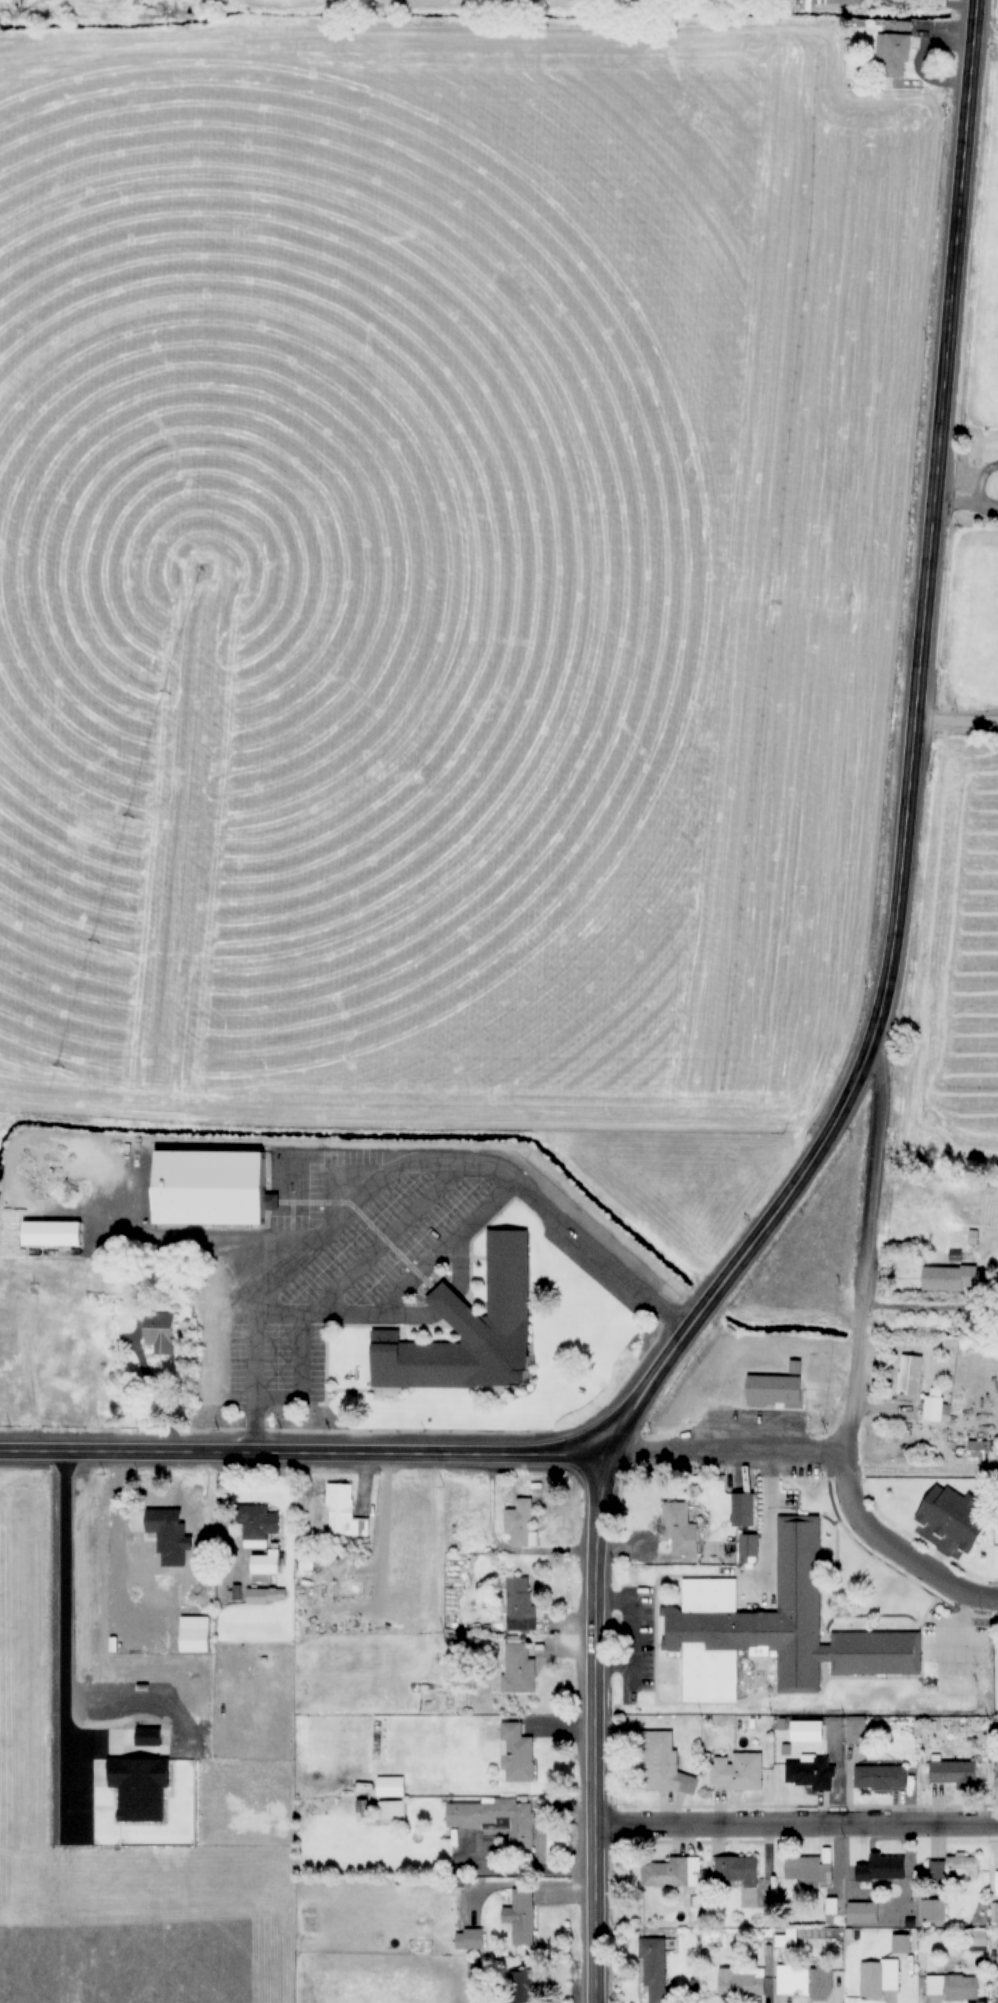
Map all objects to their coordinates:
building: (818, 3)
road: (911, 6)
building: (893, 55)
road: (901, 64)
road: (969, 477)
road: (918, 509)
road: (958, 509)
crop: (447, 589)
road: (949, 725)
building: (193, 1191)
building: (252, 1202)
road: (532, 1217)
road: (275, 1219)
road: (388, 1221)
road: (328, 1222)
road: (349, 1222)
road: (125, 1229)
building: (35, 1236)
road: (851, 1236)
road: (255, 1240)
parking lot: (333, 1259)
building: (54, 1276)
road: (400, 1279)
building: (925, 1280)
road: (266, 1319)
building: (454, 1332)
building: (160, 1334)
building: (910, 1375)
road: (285, 1382)
building: (774, 1389)
building: (934, 1408)
road: (297, 1447)
road: (713, 1450)
building: (977, 1450)
road: (586, 1469)
building: (744, 1509)
building: (727, 1512)
building: (345, 1513)
building: (521, 1523)
building: (937, 1524)
building: (679, 1525)
building: (160, 1537)
building: (261, 1540)
road: (886, 1558)
building: (266, 1597)
building: (520, 1604)
building: (772, 1629)
building: (195, 1635)
parking lot: (631, 1636)
road: (619, 1641)
building: (96, 1648)
building: (518, 1669)
building: (807, 1731)
building: (517, 1754)
building: (661, 1765)
building: (737, 1772)
building: (935, 1773)
building: (809, 1774)
building: (881, 1778)
building: (992, 1778)
building: (391, 1786)
crop: (116, 1805)
building: (392, 1812)
building: (497, 1819)
road: (787, 1821)
building: (955, 1869)
building: (883, 1870)
building: (737, 1872)
building: (809, 1872)
building: (673, 1873)
building: (997, 1883)
building: (933, 1910)
building: (863, 1913)
building: (994, 1913)
building: (523, 1917)
building: (979, 1938)
building: (470, 1939)
building: (902, 1944)
building: (655, 1968)
building: (879, 1978)
building: (806, 1982)
building: (745, 1984)
building: (953, 1986)
building: (520, 1987)

